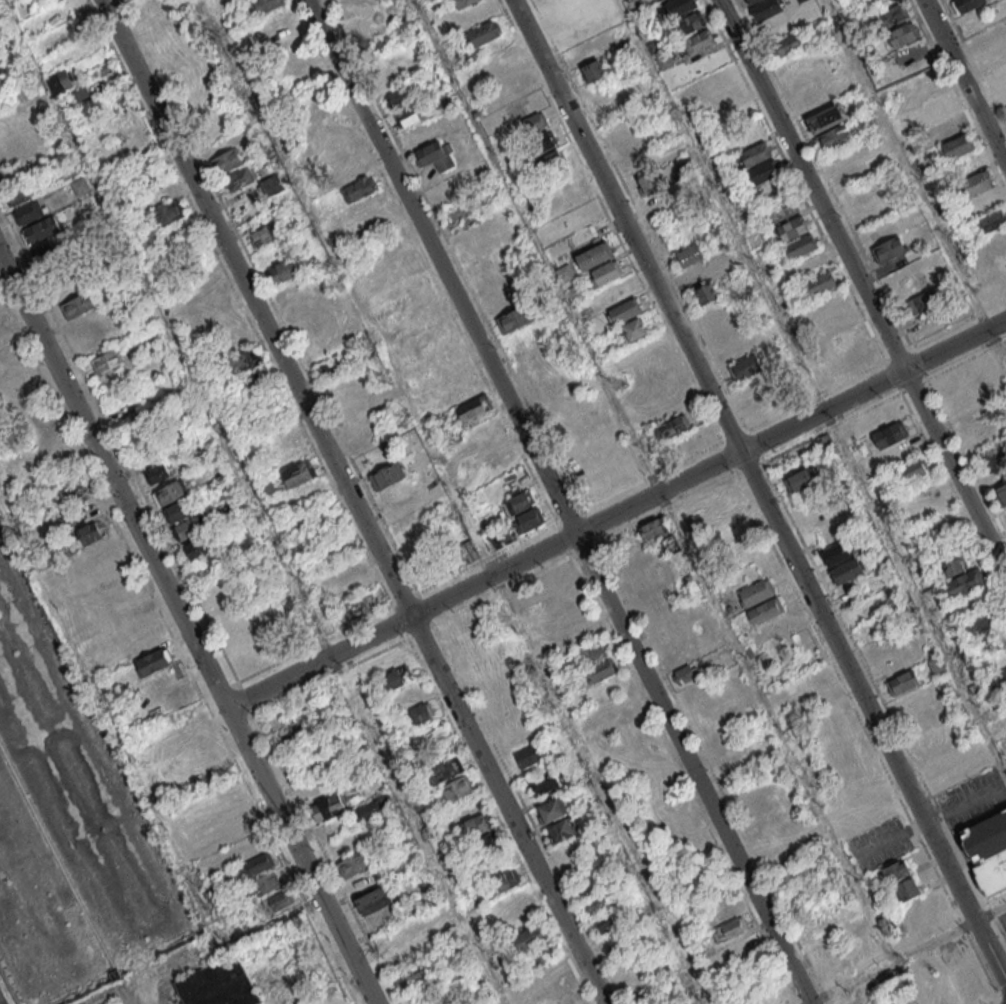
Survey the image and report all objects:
building: (659, 0)
building: (753, 2)
building: (463, 3)
building: (970, 4)
building: (681, 7)
building: (768, 9)
building: (151, 12)
building: (271, 14)
building: (891, 16)
building: (374, 22)
building: (691, 25)
building: (482, 33)
building: (904, 34)
building: (701, 42)
building: (787, 46)
building: (663, 60)
building: (593, 70)
building: (998, 78)
road: (966, 80)
building: (59, 81)
building: (515, 85)
building: (81, 94)
building: (1003, 95)
building: (400, 96)
building: (941, 109)
building: (408, 116)
building: (827, 118)
building: (535, 122)
building: (947, 129)
building: (835, 139)
building: (544, 141)
building: (956, 148)
building: (758, 155)
building: (435, 156)
building: (226, 161)
building: (552, 161)
building: (766, 172)
building: (150, 174)
building: (238, 178)
building: (649, 182)
building: (271, 184)
building: (978, 184)
building: (79, 185)
building: (359, 188)
building: (20, 195)
building: (454, 209)
building: (785, 210)
building: (27, 213)
building: (168, 213)
building: (993, 222)
building: (794, 229)
building: (40, 230)
building: (264, 234)
building: (802, 247)
building: (891, 250)
building: (689, 256)
building: (596, 257)
building: (284, 270)
building: (567, 274)
building: (608, 274)
building: (703, 281)
road: (864, 283)
building: (822, 284)
building: (576, 293)
building: (928, 301)
building: (78, 304)
building: (627, 311)
building: (516, 320)
building: (634, 331)
building: (849, 341)
road: (893, 357)
building: (105, 361)
building: (242, 361)
building: (746, 368)
building: (472, 407)
building: (671, 427)
building: (890, 434)
building: (825, 443)
building: (912, 470)
building: (158, 472)
building: (298, 473)
building: (387, 475)
road: (652, 479)
building: (800, 479)
building: (265, 487)
road: (756, 488)
building: (71, 492)
building: (170, 492)
building: (1002, 495)
building: (518, 500)
road: (352, 501)
road: (558, 501)
building: (177, 511)
road: (615, 513)
building: (530, 519)
building: (189, 527)
building: (653, 529)
building: (90, 532)
building: (195, 549)
building: (468, 551)
building: (839, 552)
building: (847, 571)
building: (560, 574)
building: (961, 576)
building: (757, 591)
building: (521, 593)
building: (359, 606)
building: (766, 610)
building: (977, 623)
road: (186, 631)
building: (148, 640)
building: (588, 656)
building: (153, 662)
building: (937, 666)
building: (600, 672)
building: (685, 674)
building: (398, 677)
building: (1000, 678)
building: (903, 682)
building: (421, 712)
building: (532, 753)
building: (309, 768)
building: (445, 770)
building: (543, 783)
building: (455, 790)
building: (327, 807)
building: (371, 808)
building: (552, 809)
building: (475, 825)
building: (563, 829)
building: (489, 843)
building: (987, 851)
building: (352, 864)
building: (254, 866)
building: (896, 871)
building: (503, 881)
building: (262, 884)
building: (906, 889)
building: (374, 900)
building: (276, 901)
building: (597, 903)
road: (991, 909)
building: (606, 922)
building: (729, 929)
building: (529, 938)
building: (543, 954)
road: (892, 959)
building: (553, 974)
building: (408, 976)
building: (217, 984)
road: (804, 1002)

